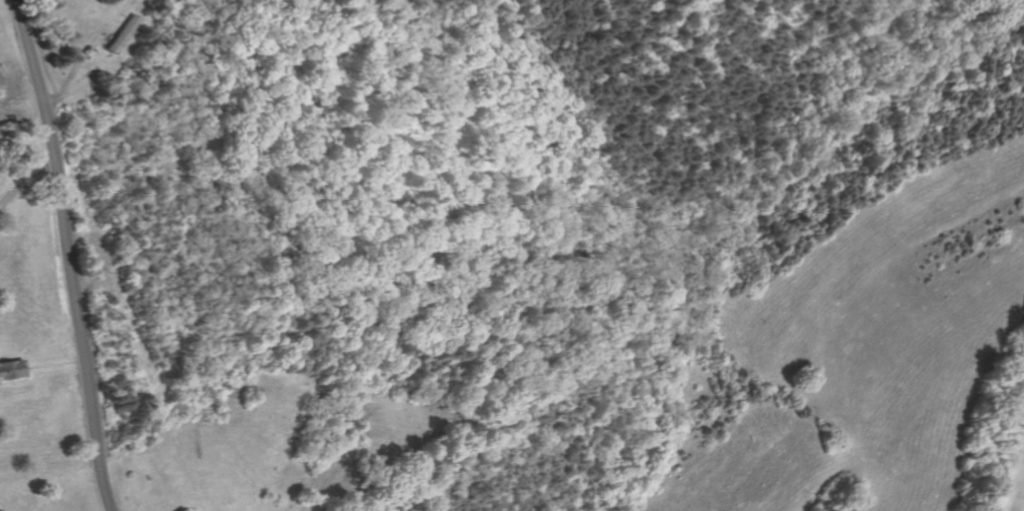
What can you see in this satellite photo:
building: (122, 33)
road: (69, 80)
road: (25, 182)
road: (69, 254)
road: (54, 364)
building: (12, 369)
road: (18, 381)
building: (181, 510)
building: (185, 510)

